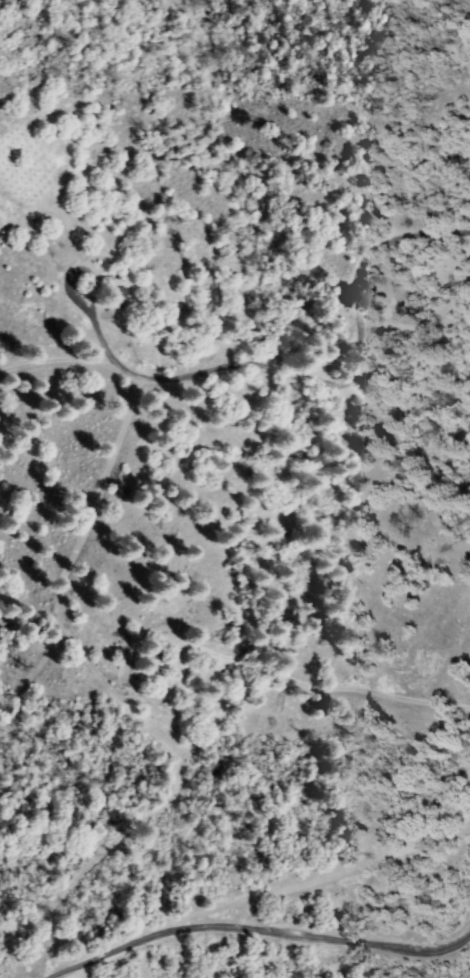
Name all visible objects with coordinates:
building: (158, 648)
building: (151, 649)
building: (159, 664)
road: (253, 894)

